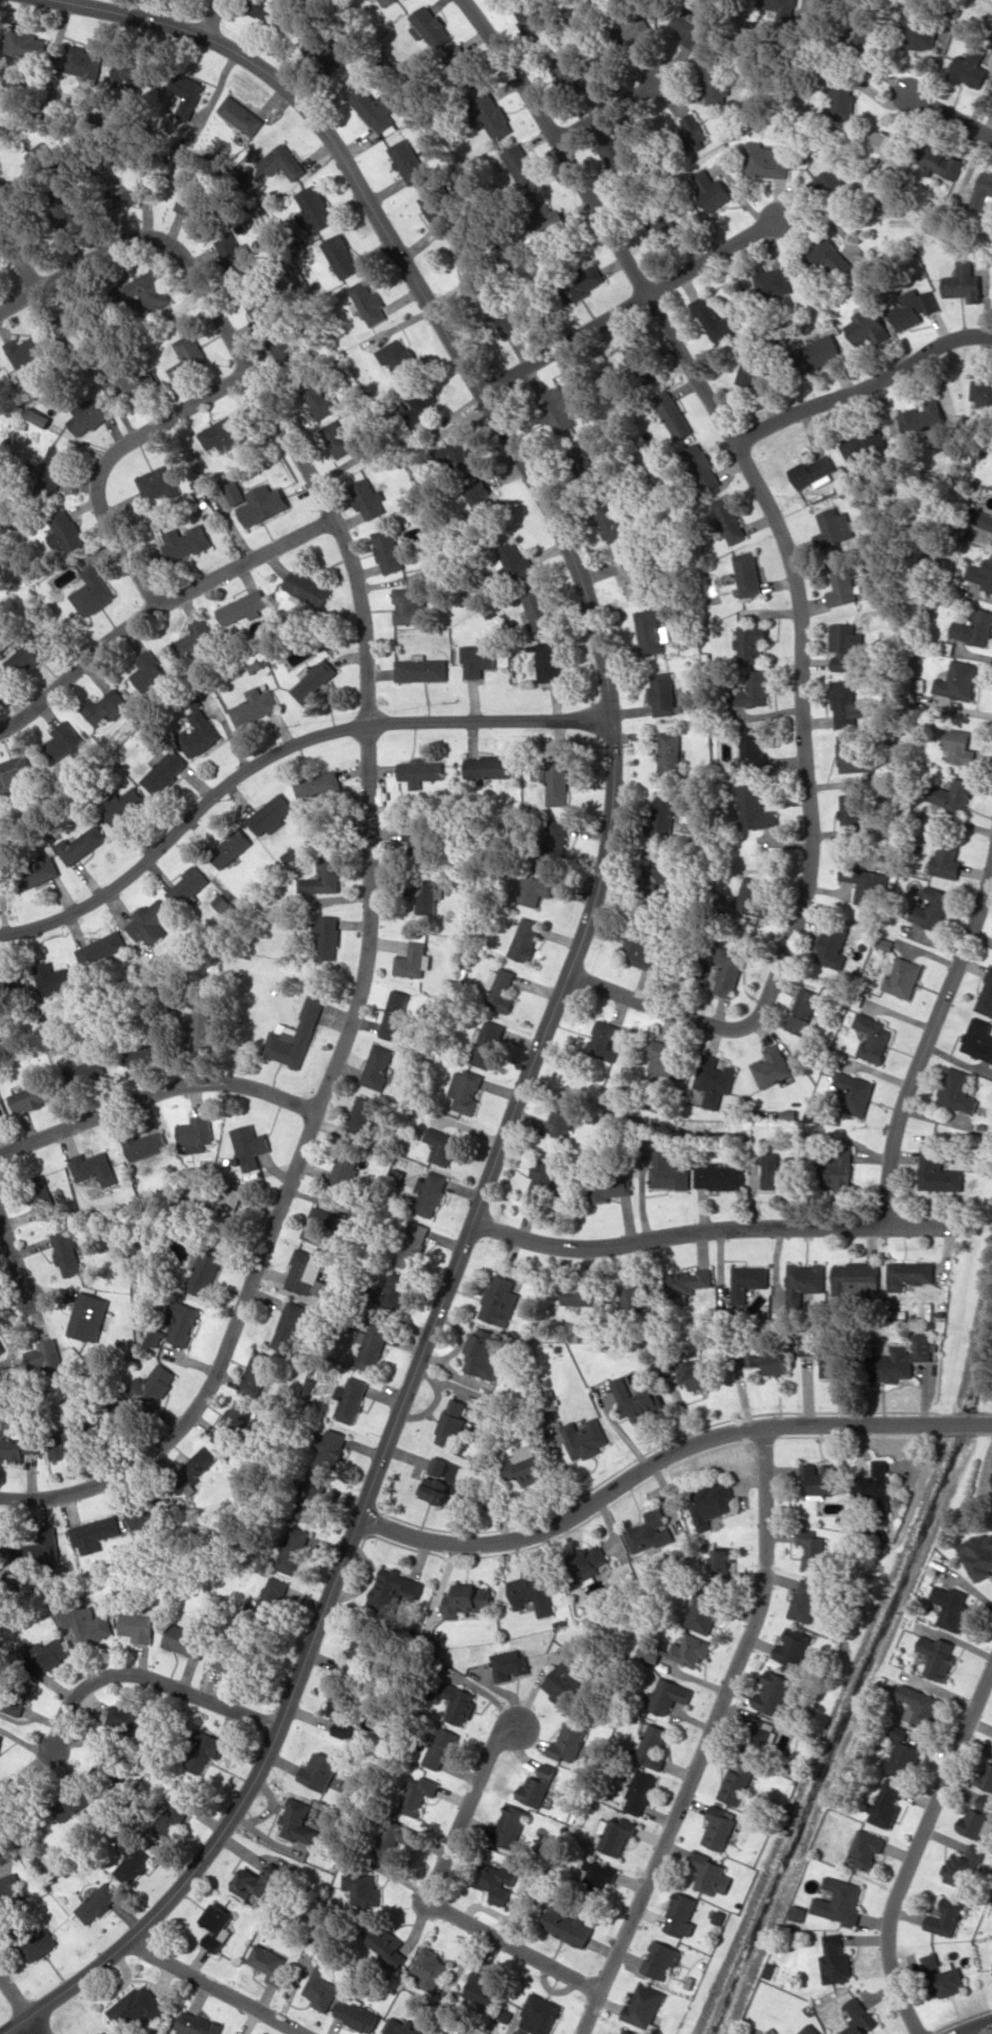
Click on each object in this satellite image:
building: (991, 0)
building: (386, 2)
building: (269, 9)
building: (787, 10)
road: (213, 19)
building: (537, 23)
building: (432, 26)
building: (692, 26)
building: (919, 32)
building: (861, 38)
building: (22, 43)
building: (83, 61)
building: (463, 66)
building: (970, 67)
building: (568, 70)
building: (716, 81)
building: (188, 96)
building: (844, 100)
road: (607, 109)
building: (493, 114)
building: (241, 115)
road: (949, 115)
building: (695, 130)
building: (886, 147)
building: (617, 156)
building: (41, 157)
building: (409, 161)
building: (766, 161)
building: (941, 161)
building: (283, 162)
building: (521, 164)
building: (833, 185)
building: (712, 189)
building: (983, 191)
building: (132, 192)
building: (195, 206)
building: (317, 207)
building: (438, 209)
building: (549, 217)
building: (73, 218)
building: (669, 229)
building: (343, 255)
building: (829, 255)
road: (18, 256)
building: (235, 256)
building: (469, 259)
building: (585, 281)
building: (775, 281)
building: (963, 283)
building: (153, 288)
road: (630, 302)
building: (368, 303)
building: (913, 308)
building: (75, 318)
building: (714, 318)
building: (508, 323)
building: (868, 326)
building: (284, 348)
building: (27, 349)
building: (819, 352)
building: (188, 355)
building: (398, 356)
building: (757, 374)
road: (862, 384)
building: (138, 387)
building: (982, 394)
building: (320, 397)
building: (422, 403)
building: (557, 408)
building: (673, 414)
building: (89, 416)
building: (923, 417)
building: (225, 433)
building: (865, 443)
building: (458, 455)
road: (108, 458)
building: (54, 467)
building: (703, 467)
building: (812, 472)
building: (159, 483)
building: (237, 492)
building: (480, 494)
building: (369, 497)
building: (264, 504)
building: (982, 519)
building: (731, 520)
building: (612, 523)
building: (835, 529)
building: (66, 531)
building: (186, 542)
building: (388, 550)
building: (516, 560)
road: (792, 568)
building: (749, 573)
building: (981, 573)
building: (0, 574)
building: (633, 577)
building: (304, 586)
building: (842, 586)
building: (91, 591)
building: (411, 605)
building: (242, 607)
building: (539, 607)
road: (156, 608)
building: (974, 628)
building: (650, 631)
building: (196, 639)
building: (752, 644)
building: (845, 644)
building: (29, 654)
building: (478, 659)
building: (549, 661)
building: (422, 669)
building: (147, 670)
building: (313, 679)
building: (959, 680)
building: (754, 690)
building: (663, 693)
building: (846, 704)
building: (104, 706)
building: (254, 706)
building: (198, 733)
building: (63, 741)
building: (959, 746)
building: (754, 749)
road: (277, 751)
building: (852, 752)
building: (671, 753)
building: (489, 766)
building: (13, 771)
building: (164, 771)
building: (419, 771)
building: (557, 781)
building: (317, 785)
building: (954, 795)
building: (124, 806)
building: (755, 808)
building: (270, 815)
building: (852, 816)
building: (665, 818)
road: (368, 834)
building: (555, 842)
building: (81, 844)
building: (231, 848)
building: (947, 860)
building: (36, 873)
building: (323, 877)
building: (866, 883)
building: (655, 884)
building: (188, 886)
building: (534, 889)
building: (426, 895)
building: (753, 895)
building: (932, 908)
building: (150, 922)
building: (326, 937)
building: (524, 939)
building: (833, 946)
building: (102, 949)
building: (640, 949)
building: (415, 958)
building: (730, 971)
road: (568, 975)
building: (903, 977)
building: (51, 978)
building: (10, 980)
building: (502, 991)
building: (986, 997)
building: (802, 1011)
building: (394, 1014)
building: (207, 1028)
building: (293, 1036)
building: (874, 1037)
building: (979, 1039)
building: (605, 1040)
building: (488, 1044)
road: (929, 1044)
building: (146, 1050)
building: (663, 1058)
building: (377, 1066)
building: (772, 1066)
building: (84, 1072)
building: (715, 1080)
building: (958, 1089)
building: (466, 1090)
road: (157, 1092)
building: (855, 1093)
building: (31, 1097)
building: (2, 1113)
building: (565, 1114)
building: (360, 1118)
building: (196, 1133)
building: (146, 1145)
building: (250, 1146)
building: (442, 1146)
building: (93, 1167)
building: (344, 1167)
building: (839, 1168)
building: (669, 1170)
building: (780, 1171)
building: (938, 1172)
building: (720, 1176)
building: (545, 1183)
building: (610, 1189)
building: (42, 1194)
building: (428, 1194)
building: (227, 1207)
building: (319, 1225)
road: (717, 1228)
building: (412, 1245)
building: (68, 1251)
road: (18, 1253)
building: (207, 1271)
building: (911, 1273)
building: (857, 1278)
building: (690, 1281)
building: (748, 1281)
building: (803, 1281)
building: (395, 1289)
building: (580, 1293)
building: (638, 1294)
building: (500, 1300)
building: (90, 1316)
building: (178, 1326)
building: (289, 1326)
building: (806, 1346)
building: (372, 1348)
building: (47, 1353)
building: (483, 1353)
building: (903, 1359)
building: (770, 1361)
building: (834, 1364)
building: (257, 1374)
building: (698, 1374)
building: (155, 1384)
building: (350, 1399)
building: (636, 1400)
building: (124, 1408)
building: (453, 1423)
building: (232, 1425)
building: (585, 1438)
building: (18, 1448)
building: (333, 1449)
road: (667, 1459)
building: (525, 1464)
building: (197, 1465)
building: (439, 1466)
building: (820, 1479)
building: (875, 1488)
building: (436, 1489)
building: (310, 1500)
building: (719, 1500)
building: (134, 1520)
building: (649, 1532)
building: (94, 1534)
building: (47, 1546)
building: (292, 1549)
building: (812, 1549)
building: (978, 1554)
building: (592, 1562)
building: (722, 1564)
building: (394, 1589)
building: (532, 1592)
building: (469, 1600)
building: (805, 1600)
building: (268, 1601)
building: (950, 1607)
building: (703, 1614)
building: (85, 1623)
building: (138, 1625)
building: (190, 1639)
building: (793, 1647)
building: (363, 1649)
building: (48, 1653)
building: (936, 1657)
building: (225, 1662)
building: (510, 1665)
road: (150, 1677)
building: (566, 1680)
building: (774, 1693)
building: (668, 1696)
building: (458, 1703)
building: (11, 1705)
building: (918, 1705)
building: (341, 1713)
building: (131, 1718)
road: (711, 1735)
building: (0, 1737)
building: (756, 1737)
building: (568, 1742)
building: (652, 1746)
building: (442, 1747)
building: (204, 1749)
building: (902, 1752)
building: (103, 1769)
building: (318, 1771)
building: (986, 1776)
building: (734, 1784)
building: (538, 1785)
building: (638, 1792)
building: (419, 1794)
building: (68, 1803)
building: (885, 1804)
building: (172, 1813)
building: (977, 1820)
building: (297, 1822)
building: (512, 1827)
building: (717, 1827)
building: (615, 1835)
building: (394, 1837)
building: (865, 1848)
road: (915, 1849)
building: (131, 1860)
building: (962, 1868)
building: (708, 1874)
building: (598, 1875)
building: (259, 1879)
building: (497, 1884)
building: (362, 1887)
building: (9, 1892)
road: (430, 1897)
building: (838, 1901)
building: (97, 1902)
building: (797, 1912)
building: (679, 1915)
building: (944, 1918)
building: (566, 1926)
building: (217, 1927)
building: (39, 1945)
building: (387, 1945)
building: (660, 1959)
building: (835, 1960)
building: (269, 1962)
building: (430, 1967)
building: (943, 1975)
building: (321, 1988)
building: (482, 1988)
road: (215, 1989)
road: (13, 1997)
building: (643, 2005)
building: (138, 2006)
building: (357, 2015)
building: (858, 2018)
building: (197, 2024)
road: (32, 2025)
building: (404, 2027)
building: (808, 2029)
road: (978, 2029)
building: (628, 2032)
building: (237, 2033)

